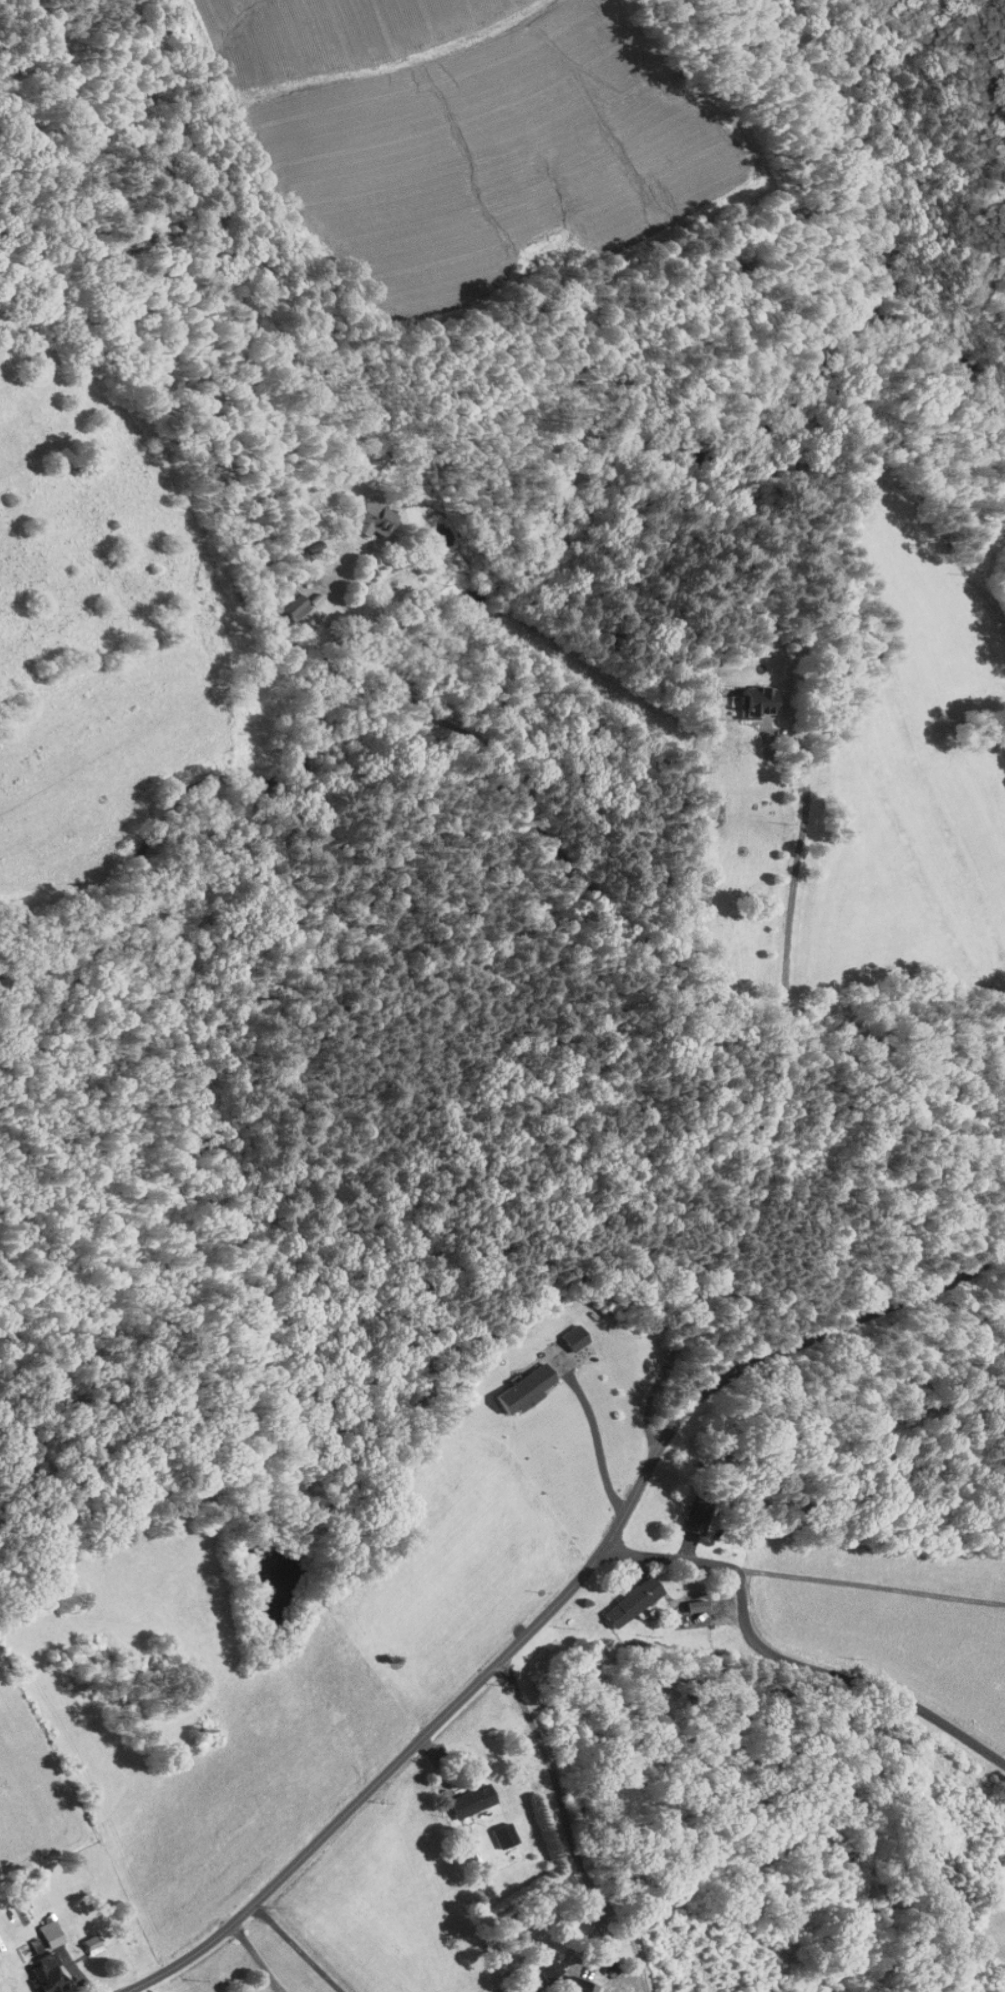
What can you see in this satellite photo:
building: (360, 513)
building: (284, 599)
building: (737, 695)
road: (796, 868)
road: (653, 964)
building: (558, 1332)
building: (506, 1385)
road: (597, 1441)
road: (871, 1584)
building: (614, 1596)
building: (680, 1600)
road: (560, 1601)
road: (789, 1655)
building: (463, 1794)
road: (672, 1798)
road: (565, 1805)
building: (495, 1829)
building: (84, 1937)
building: (39, 1956)
building: (541, 1961)
building: (574, 1980)

